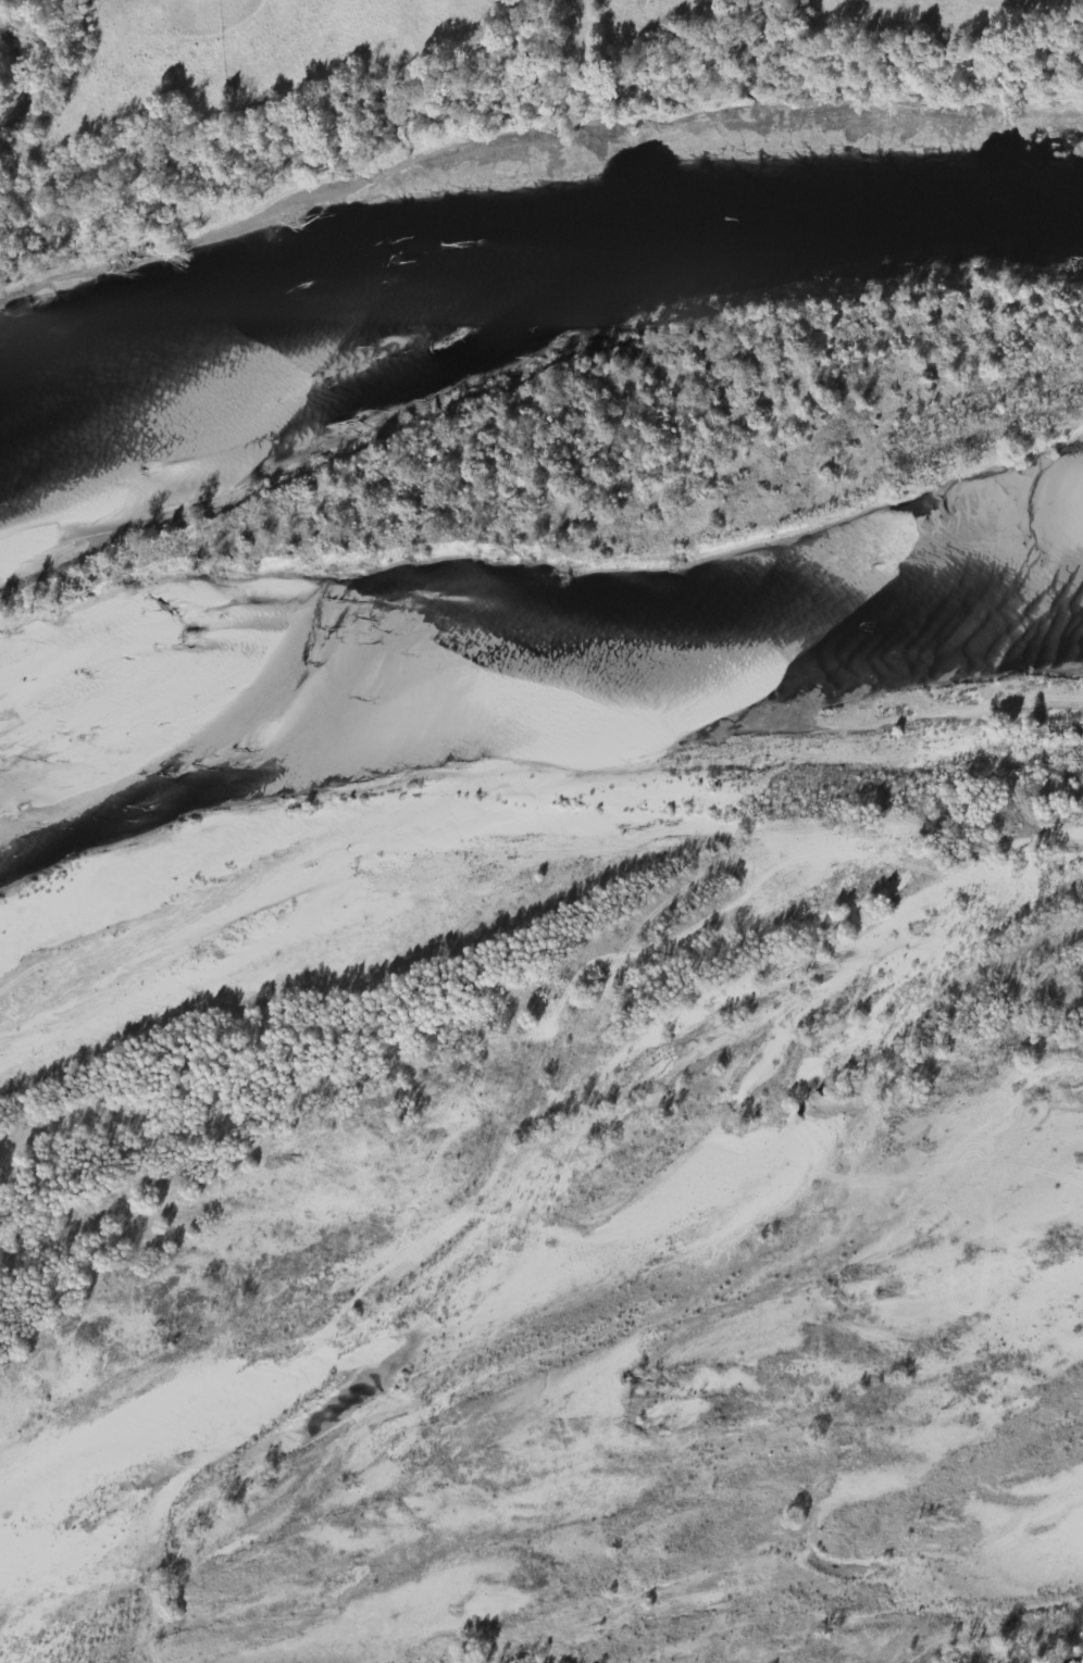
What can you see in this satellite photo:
river: (532, 234)

